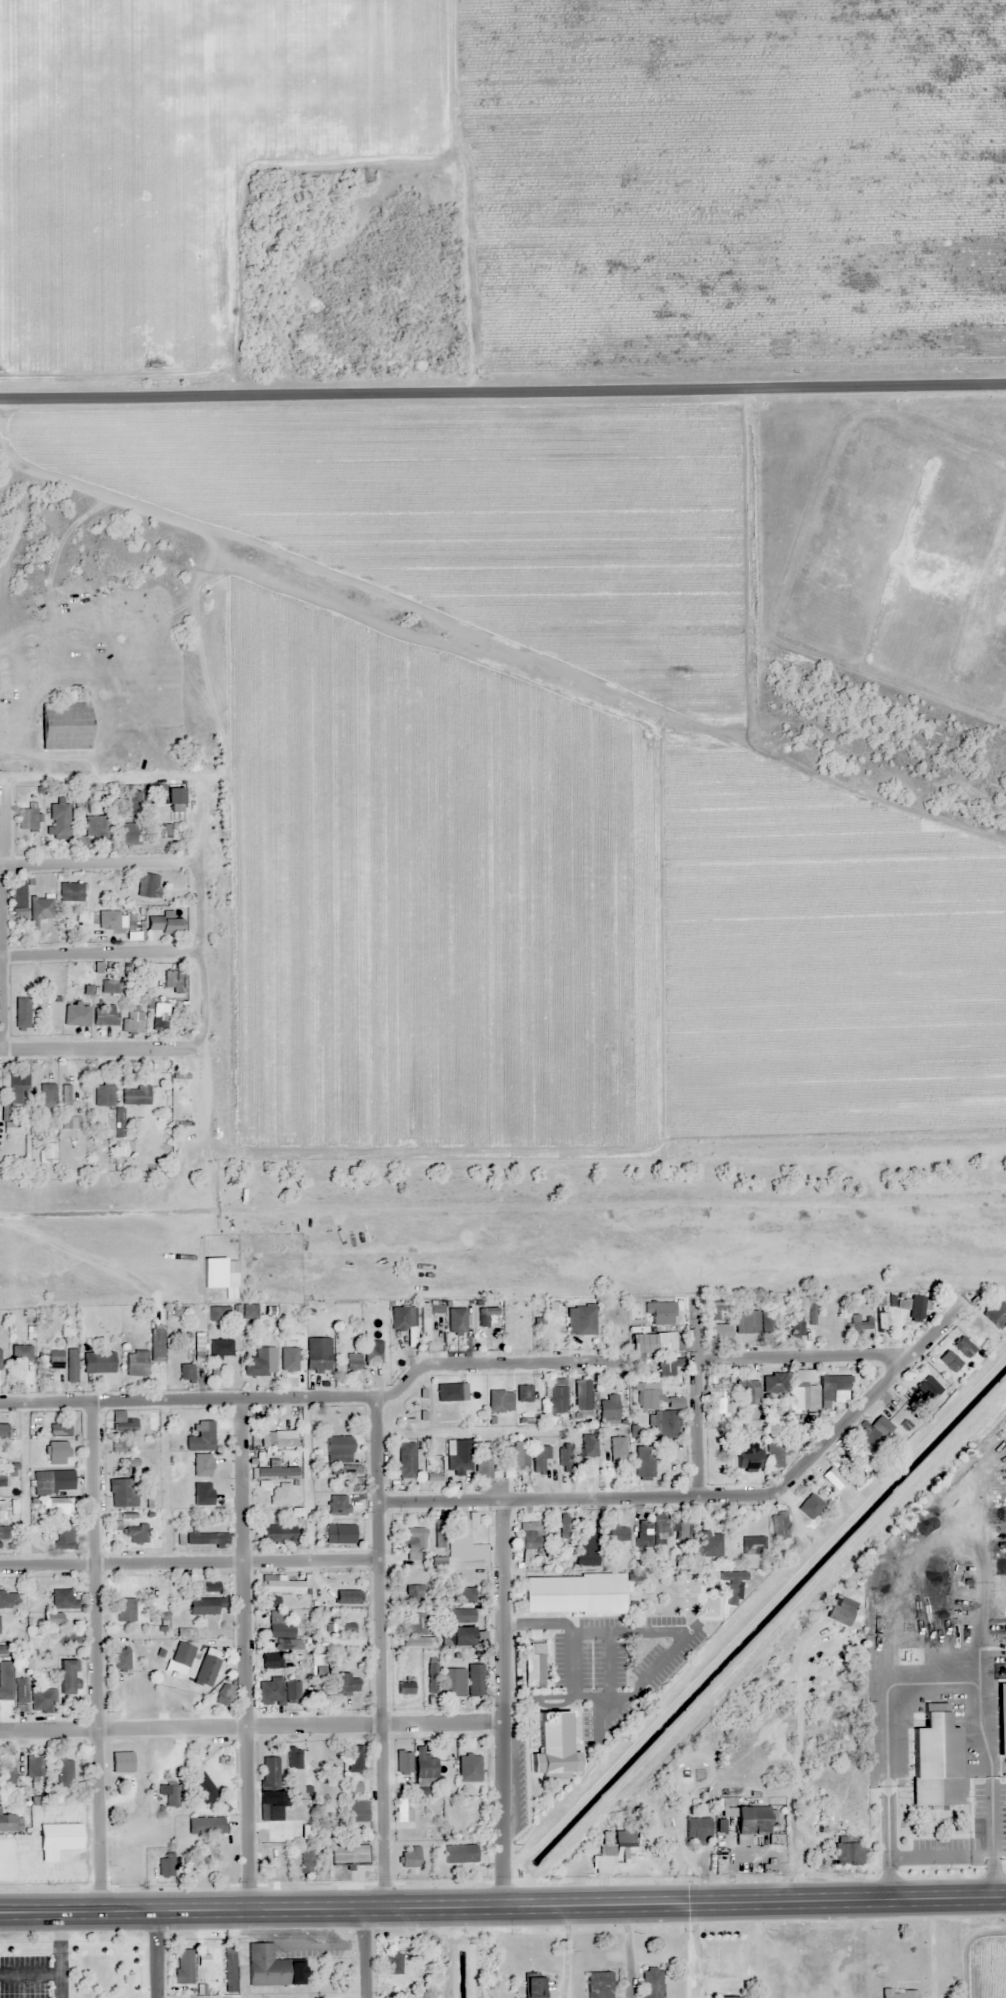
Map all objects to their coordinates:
road: (502, 394)
building: (64, 725)
building: (172, 801)
building: (131, 802)
building: (27, 818)
road: (200, 819)
building: (58, 820)
building: (91, 830)
building: (162, 831)
building: (127, 832)
road: (99, 861)
building: (147, 885)
building: (70, 891)
building: (18, 897)
building: (39, 910)
road: (1, 916)
building: (84, 916)
building: (108, 922)
building: (163, 925)
road: (99, 951)
building: (173, 980)
building: (109, 987)
building: (74, 1002)
building: (21, 1013)
building: (103, 1014)
building: (160, 1015)
building: (133, 1019)
road: (94, 1048)
building: (45, 1095)
building: (103, 1095)
building: (135, 1096)
building: (19, 1097)
building: (181, 1100)
building: (64, 1106)
railway: (503, 1203)
building: (713, 1309)
building: (249, 1311)
building: (658, 1312)
building: (218, 1313)
building: (995, 1313)
building: (485, 1314)
building: (399, 1317)
building: (583, 1319)
building: (757, 1319)
building: (455, 1320)
building: (423, 1321)
building: (859, 1322)
building: (795, 1325)
building: (719, 1330)
building: (156, 1341)
building: (643, 1342)
building: (198, 1346)
building: (220, 1347)
building: (962, 1347)
building: (20, 1352)
building: (317, 1353)
building: (373, 1353)
road: (803, 1354)
building: (54, 1359)
building: (352, 1360)
building: (289, 1361)
building: (948, 1361)
building: (97, 1362)
building: (259, 1362)
building: (135, 1363)
building: (70, 1364)
building: (665, 1366)
building: (185, 1371)
building: (774, 1383)
building: (926, 1387)
building: (449, 1391)
building: (746, 1392)
building: (820, 1392)
building: (523, 1393)
road: (696, 1394)
road: (315, 1395)
building: (557, 1395)
building: (583, 1395)
building: (647, 1398)
building: (499, 1400)
building: (722, 1400)
building: (608, 1408)
building: (345, 1412)
building: (129, 1423)
building: (665, 1423)
building: (58, 1429)
building: (2, 1430)
building: (873, 1433)
building: (200, 1437)
building: (277, 1441)
building: (117, 1445)
building: (338, 1445)
building: (588, 1446)
building: (617, 1447)
building: (56, 1452)
building: (776, 1453)
building: (460, 1455)
building: (515, 1455)
building: (270, 1456)
building: (563, 1456)
building: (541, 1457)
building: (404, 1459)
building: (483, 1462)
building: (647, 1463)
building: (744, 1464)
building: (715, 1467)
building: (269, 1472)
building: (433, 1472)
building: (831, 1477)
building: (3, 1478)
building: (53, 1481)
building: (121, 1492)
building: (272, 1494)
road: (709, 1494)
building: (808, 1503)
building: (337, 1505)
building: (58, 1506)
building: (2, 1510)
building: (295, 1512)
building: (778, 1525)
building: (566, 1527)
building: (3, 1532)
building: (660, 1532)
building: (684, 1532)
building: (43, 1533)
building: (133, 1533)
building: (275, 1533)
building: (338, 1533)
building: (438, 1533)
building: (617, 1533)
building: (643, 1533)
building: (61, 1536)
building: (459, 1536)
building: (203, 1539)
building: (530, 1540)
building: (414, 1542)
building: (752, 1544)
building: (709, 1545)
building: (585, 1548)
road: (189, 1561)
building: (279, 1584)
building: (210, 1586)
building: (685, 1587)
building: (573, 1593)
building: (414, 1594)
building: (346, 1595)
building: (462, 1595)
building: (8, 1599)
building: (62, 1599)
building: (685, 1604)
building: (203, 1605)
building: (123, 1609)
building: (840, 1609)
building: (458, 1614)
building: (51, 1618)
building: (416, 1622)
building: (344, 1626)
building: (278, 1627)
building: (460, 1635)
building: (68, 1636)
building: (416, 1641)
building: (271, 1645)
road: (380, 1650)
building: (181, 1653)
road: (244, 1653)
road: (97, 1656)
building: (121, 1660)
building: (270, 1662)
building: (533, 1664)
building: (205, 1670)
building: (64, 1676)
building: (475, 1679)
building: (451, 1681)
building: (344, 1683)
building: (404, 1687)
building: (277, 1690)
building: (223, 1693)
building: (20, 1694)
building: (42, 1700)
road: (502, 1702)
building: (566, 1720)
road: (251, 1724)
building: (1001, 1734)
building: (299, 1756)
building: (933, 1757)
building: (353, 1758)
building: (402, 1759)
building: (121, 1761)
building: (423, 1764)
building: (33, 1765)
building: (468, 1767)
building: (64, 1772)
building: (7, 1775)
building: (269, 1782)
building: (308, 1783)
building: (352, 1786)
building: (202, 1788)
building: (24, 1792)
building: (171, 1794)
building: (405, 1808)
building: (357, 1811)
building: (298, 1819)
building: (750, 1819)
building: (326, 1820)
building: (824, 1821)
building: (7, 1822)
building: (206, 1825)
building: (696, 1830)
building: (647, 1835)
building: (884, 1837)
building: (56, 1839)
building: (620, 1845)
building: (847, 1850)
building: (459, 1853)
building: (348, 1854)
building: (409, 1857)
building: (305, 1859)
building: (745, 1865)
building: (164, 1866)
building: (274, 1870)
road: (503, 1905)
road: (363, 1953)
road: (154, 1955)
building: (393, 1962)
building: (182, 1965)
building: (265, 1966)
building: (228, 1969)
building: (651, 1982)
building: (598, 1984)
building: (533, 1987)
building: (898, 1993)
building: (727, 1997)

